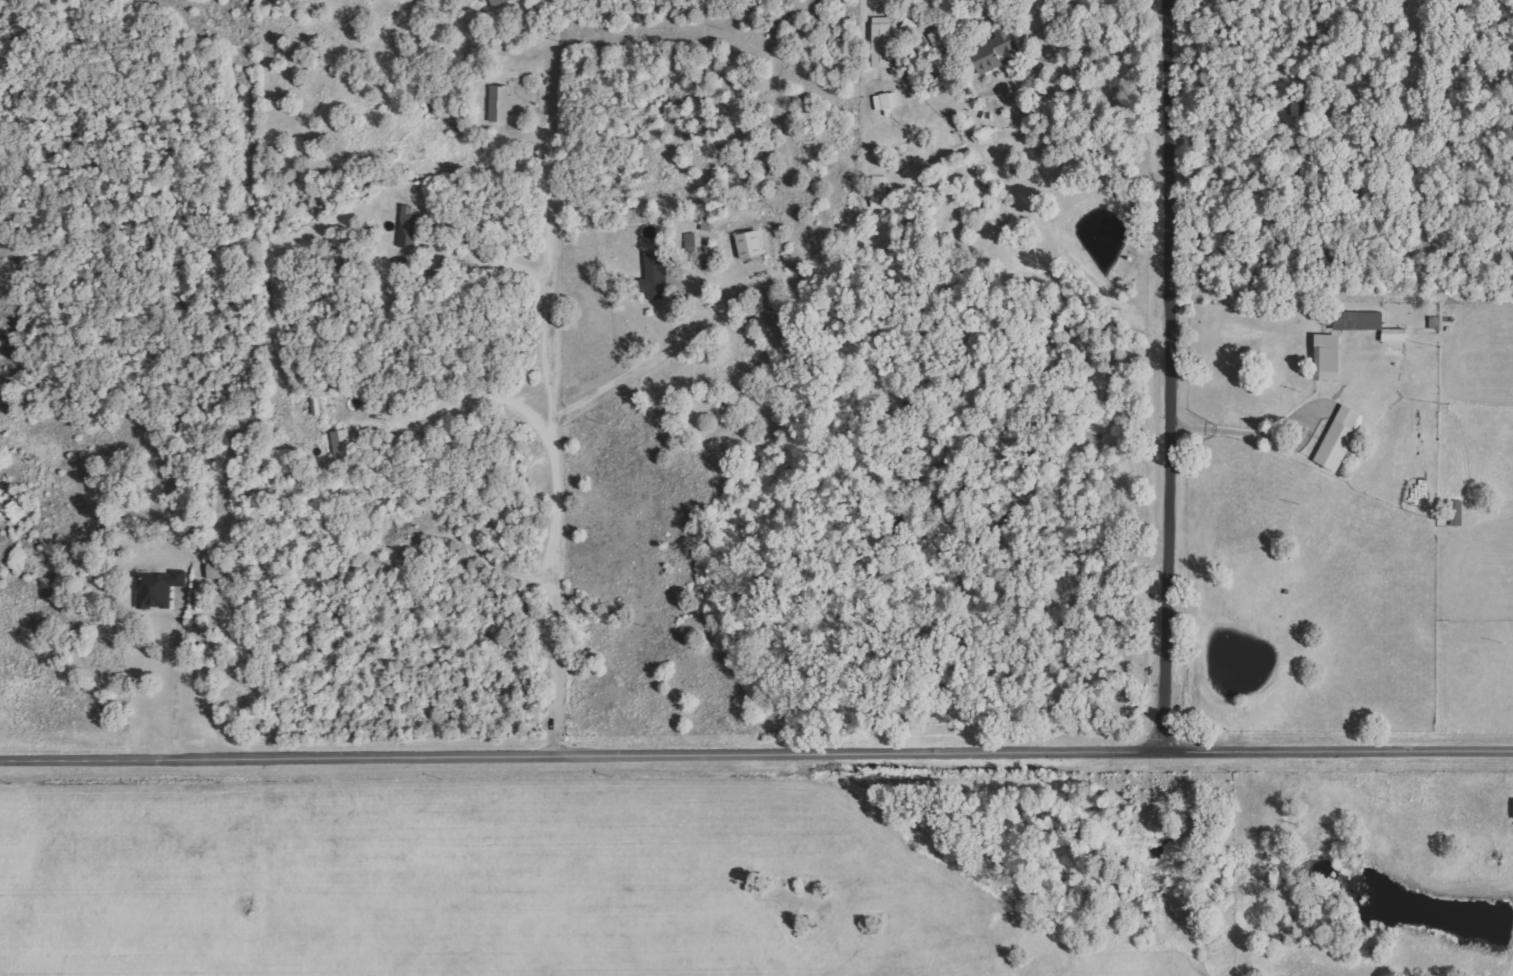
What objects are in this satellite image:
building: (498, 2)
building: (1006, 41)
building: (882, 42)
building: (886, 101)
building: (500, 104)
building: (879, 192)
building: (408, 227)
building: (750, 245)
building: (1359, 320)
building: (1395, 335)
building: (1329, 357)
road: (1172, 375)
building: (1339, 439)
building: (344, 451)
building: (1457, 513)
road: (1309, 565)
building: (220, 569)
building: (158, 589)
road: (756, 752)

